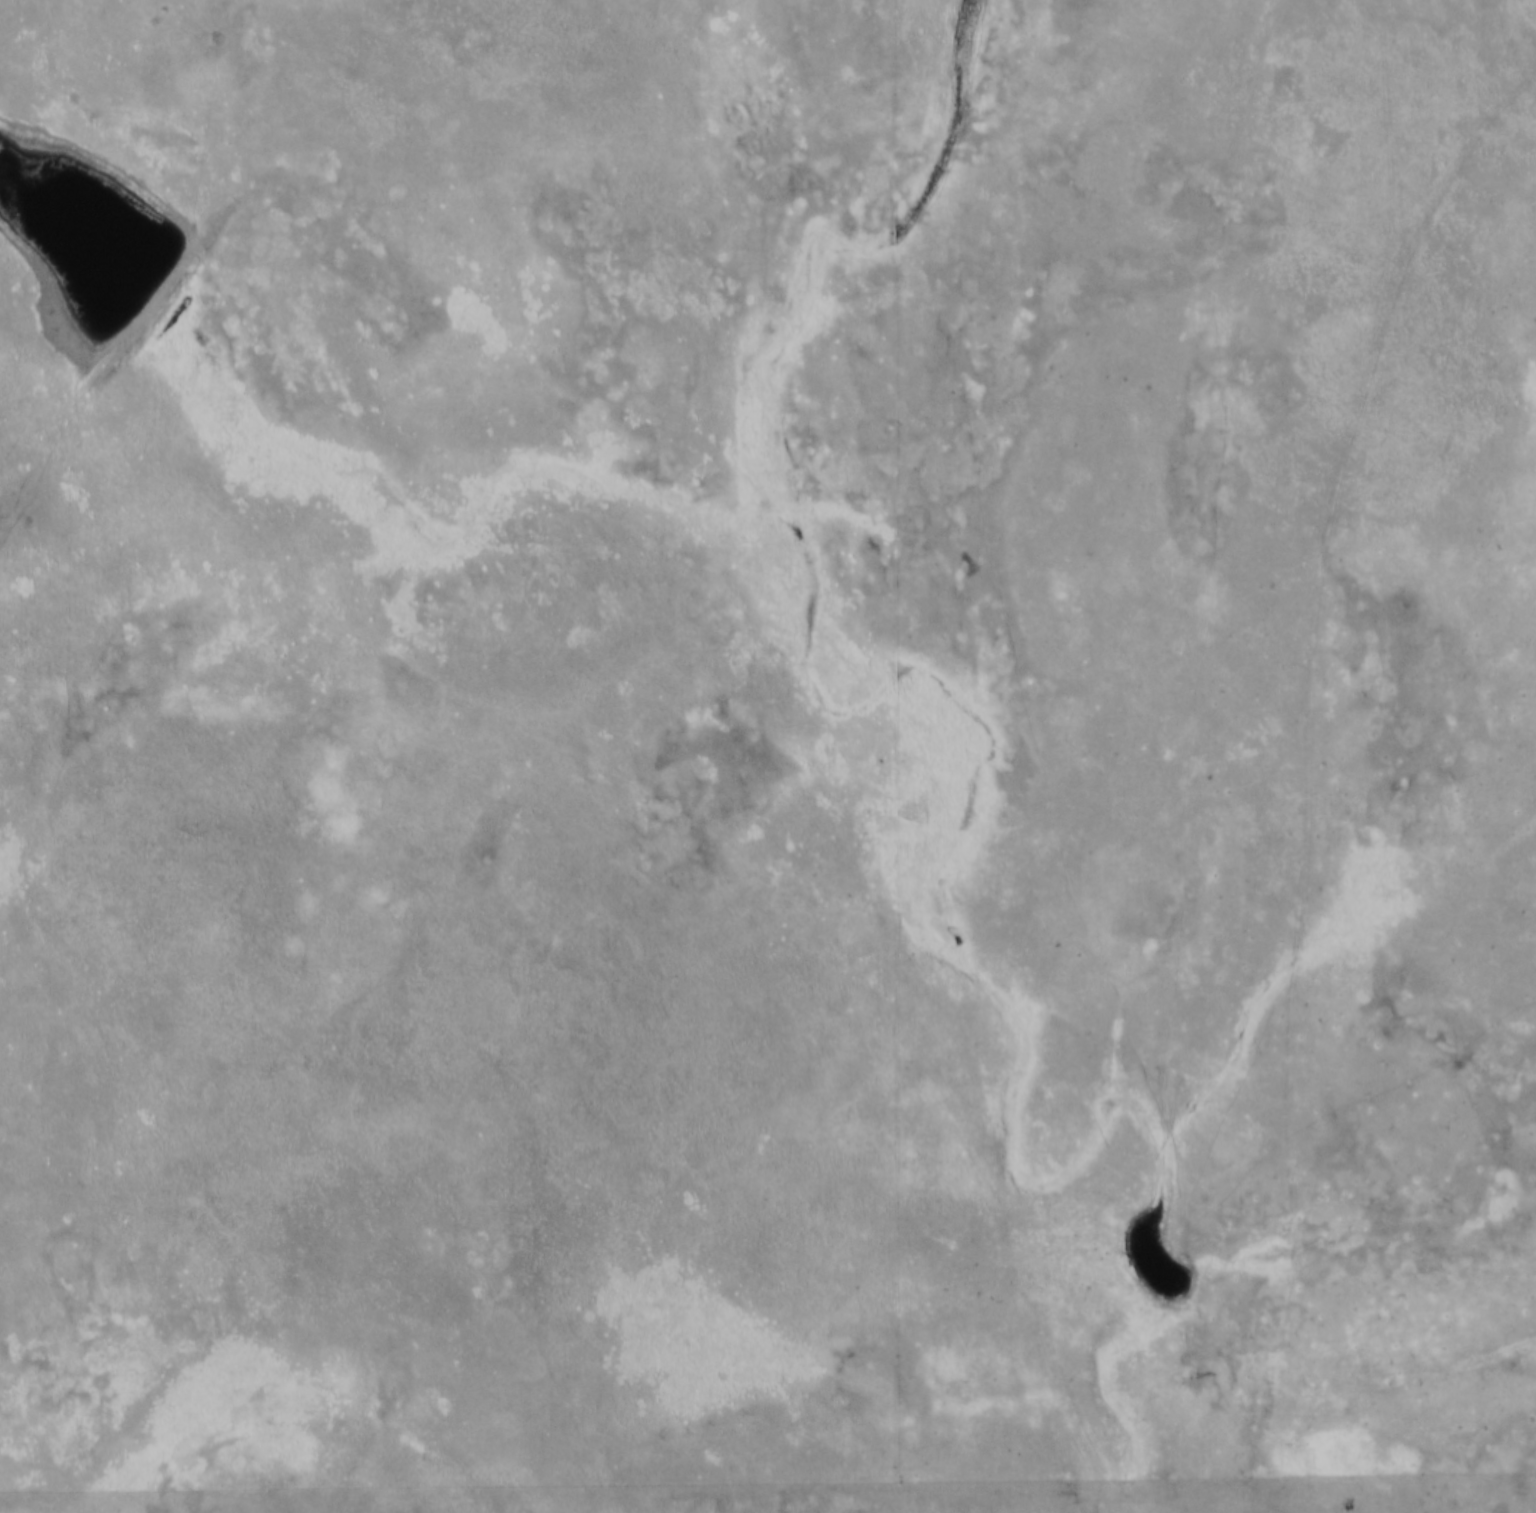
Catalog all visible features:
road: (903, 741)
road: (1307, 767)
road: (768, 1486)
road: (1277, 1504)

